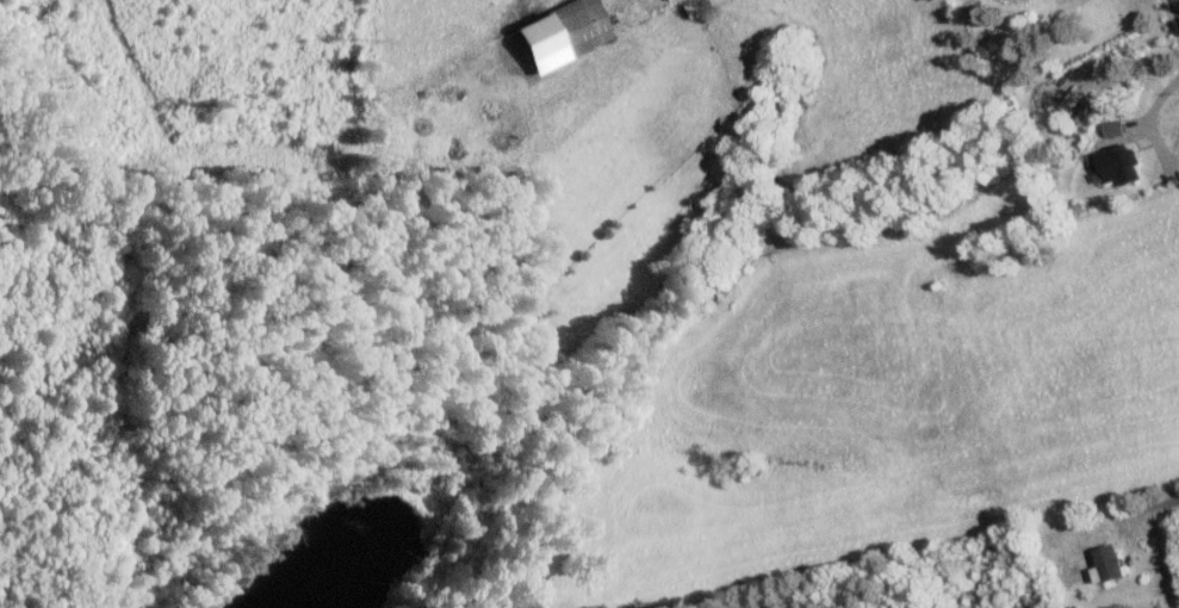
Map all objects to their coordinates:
road: (1175, 7)
building: (584, 24)
road: (1149, 119)
building: (1117, 126)
building: (1123, 163)
road: (1148, 507)
building: (1110, 563)

